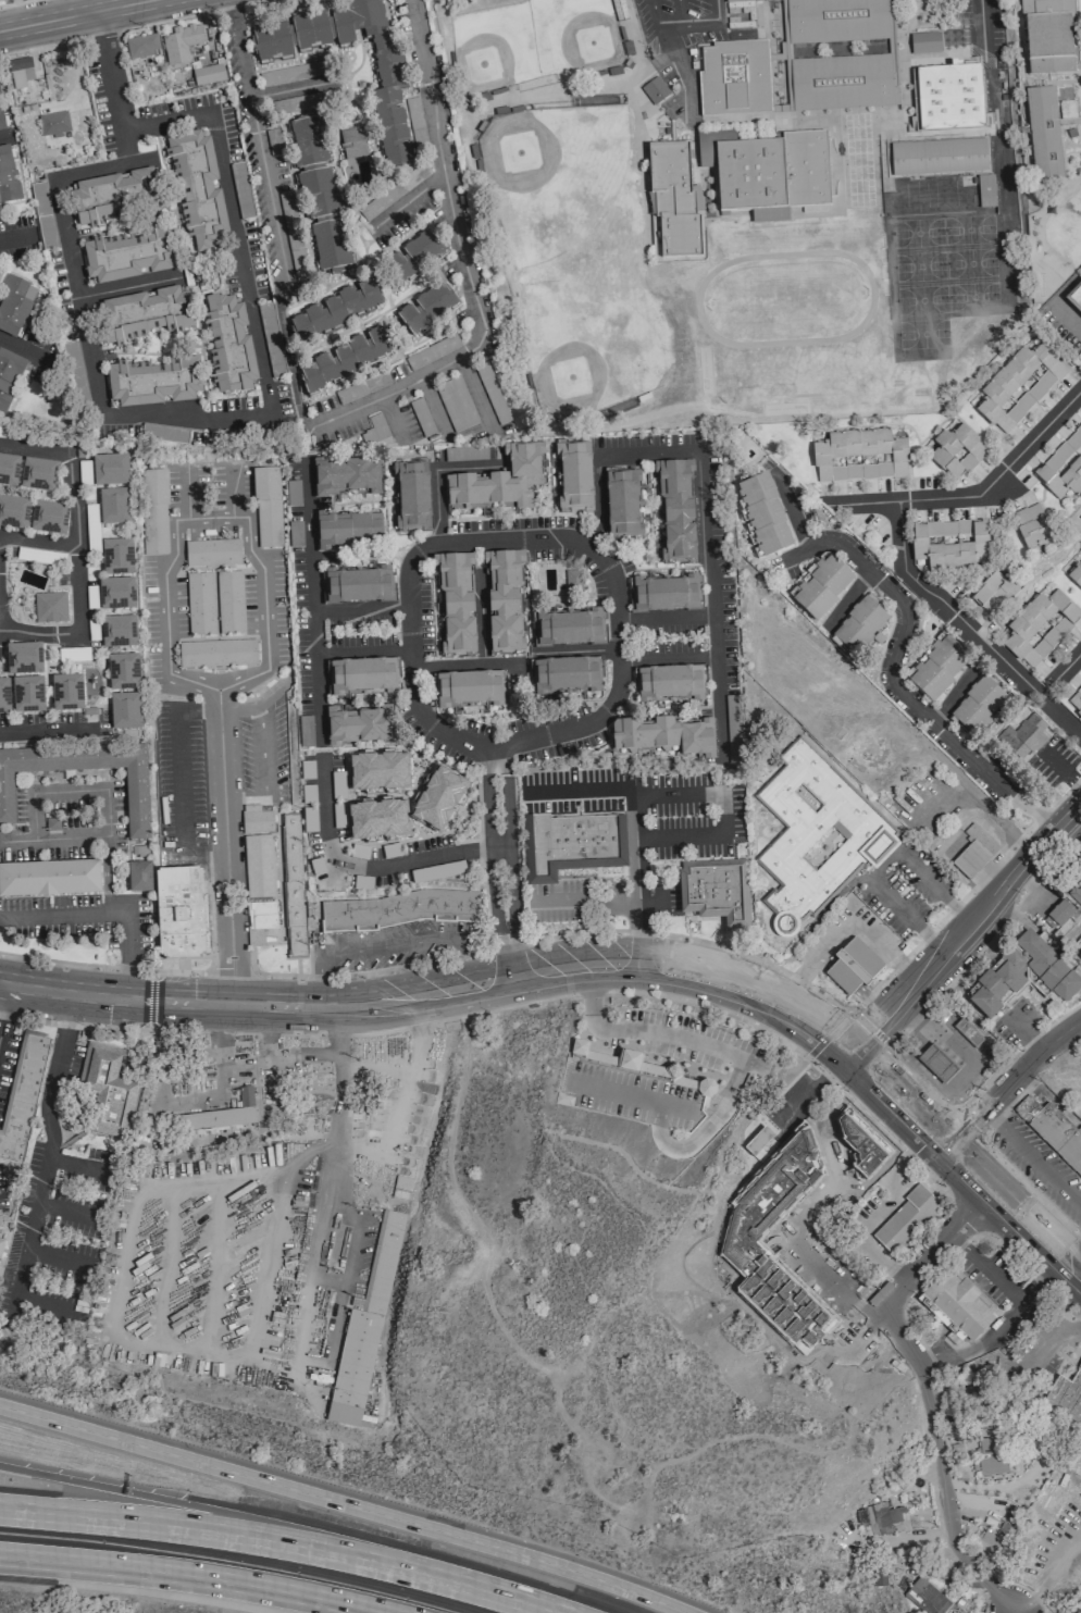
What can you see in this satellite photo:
road: (651, 12)
road: (66, 13)
building: (833, 20)
road: (984, 22)
road: (696, 25)
road: (128, 27)
building: (310, 30)
building: (1047, 36)
building: (955, 37)
building: (271, 41)
building: (923, 42)
building: (181, 44)
building: (1080, 44)
building: (141, 46)
road: (669, 51)
building: (20, 72)
building: (208, 75)
building: (378, 75)
building: (734, 78)
building: (841, 83)
road: (113, 86)
building: (655, 90)
road: (289, 91)
building: (949, 98)
building: (306, 102)
building: (1067, 113)
building: (1, 123)
building: (53, 124)
road: (996, 126)
building: (1043, 134)
road: (256, 136)
road: (1, 140)
building: (274, 141)
building: (308, 142)
building: (351, 144)
building: (937, 157)
building: (774, 173)
building: (8, 177)
building: (985, 190)
building: (198, 193)
building: (112, 195)
building: (673, 199)
road: (409, 202)
building: (44, 215)
building: (325, 222)
building: (293, 233)
road: (15, 237)
building: (127, 256)
building: (415, 256)
road: (464, 263)
road: (125, 288)
building: (1077, 293)
building: (14, 305)
building: (427, 308)
building: (337, 310)
building: (145, 314)
road: (1070, 324)
building: (228, 345)
building: (432, 351)
road: (28, 355)
building: (346, 359)
building: (9, 377)
building: (153, 382)
building: (1018, 386)
road: (203, 411)
building: (164, 433)
building: (956, 451)
building: (859, 456)
building: (1063, 468)
building: (9, 470)
building: (110, 470)
building: (38, 474)
building: (345, 476)
building: (574, 476)
building: (498, 481)
building: (266, 483)
road: (979, 492)
building: (411, 495)
road: (595, 501)
building: (622, 505)
building: (114, 506)
building: (154, 511)
building: (675, 511)
building: (13, 512)
road: (797, 514)
building: (48, 517)
building: (763, 517)
building: (270, 522)
building: (1032, 526)
building: (347, 530)
road: (39, 541)
road: (310, 542)
building: (948, 544)
road: (596, 547)
road: (79, 548)
road: (707, 548)
building: (212, 553)
road: (586, 553)
building: (116, 557)
building: (1076, 574)
building: (572, 580)
building: (821, 587)
building: (993, 593)
building: (116, 594)
building: (664, 594)
building: (504, 600)
building: (229, 601)
building: (456, 603)
building: (199, 604)
road: (849, 606)
building: (49, 607)
road: (674, 616)
building: (570, 628)
building: (1039, 628)
road: (169, 631)
road: (967, 631)
building: (117, 632)
road: (315, 633)
road: (581, 649)
building: (218, 654)
road: (679, 656)
building: (23, 658)
road: (464, 663)
building: (936, 667)
road: (1057, 671)
building: (123, 672)
building: (362, 677)
road: (894, 679)
building: (668, 683)
building: (469, 688)
road: (318, 690)
road: (956, 692)
building: (66, 693)
building: (27, 695)
building: (4, 696)
building: (1076, 702)
building: (978, 706)
building: (125, 711)
building: (358, 725)
building: (733, 730)
road: (46, 731)
building: (663, 736)
building: (1022, 736)
building: (377, 772)
road: (177, 785)
road: (103, 787)
road: (582, 791)
road: (661, 792)
building: (438, 798)
building: (136, 801)
building: (376, 820)
building: (813, 839)
road: (16, 840)
building: (576, 844)
building: (973, 852)
road: (506, 855)
road: (372, 864)
road: (881, 865)
building: (260, 876)
building: (138, 877)
building: (49, 878)
building: (293, 885)
building: (713, 889)
building: (1076, 893)
road: (586, 899)
building: (403, 910)
road: (99, 911)
building: (178, 913)
building: (1058, 914)
road: (969, 921)
road: (598, 930)
road: (384, 943)
road: (696, 956)
building: (1080, 956)
road: (639, 961)
road: (587, 963)
building: (853, 966)
road: (689, 983)
road: (258, 992)
road: (70, 993)
road: (418, 995)
road: (123, 998)
road: (261, 1004)
road: (333, 1006)
road: (2, 1008)
road: (729, 1013)
road: (845, 1015)
road: (260, 1016)
road: (74, 1023)
road: (935, 1032)
building: (967, 1032)
road: (1030, 1040)
traffic signals: (856, 1044)
road: (910, 1052)
road: (283, 1054)
road: (847, 1054)
building: (936, 1063)
building: (634, 1065)
traffic signals: (840, 1065)
road: (405, 1069)
road: (891, 1076)
road: (1011, 1079)
road: (919, 1081)
building: (107, 1085)
road: (948, 1088)
road: (731, 1090)
building: (22, 1094)
building: (633, 1094)
road: (809, 1094)
road: (877, 1101)
building: (1028, 1108)
building: (222, 1114)
road: (940, 1125)
road: (967, 1126)
building: (1059, 1134)
building: (757, 1141)
road: (930, 1142)
traffic signals: (946, 1146)
building: (808, 1147)
road: (997, 1156)
road: (1031, 1156)
parking lot: (1039, 1163)
road: (45, 1166)
road: (1012, 1212)
road: (875, 1213)
road: (965, 1217)
building: (906, 1219)
building: (1, 1244)
road: (939, 1244)
road: (985, 1268)
road: (1031, 1273)
building: (959, 1306)
road: (996, 1325)
building: (363, 1336)
road: (219, 1353)
building: (1066, 1395)
building: (990, 1444)
road: (939, 1460)
building: (992, 1465)
road: (182, 1503)
road: (344, 1503)
building: (879, 1515)
road: (179, 1529)
building: (990, 1543)
road: (187, 1576)
road: (452, 1585)
building: (925, 1597)

